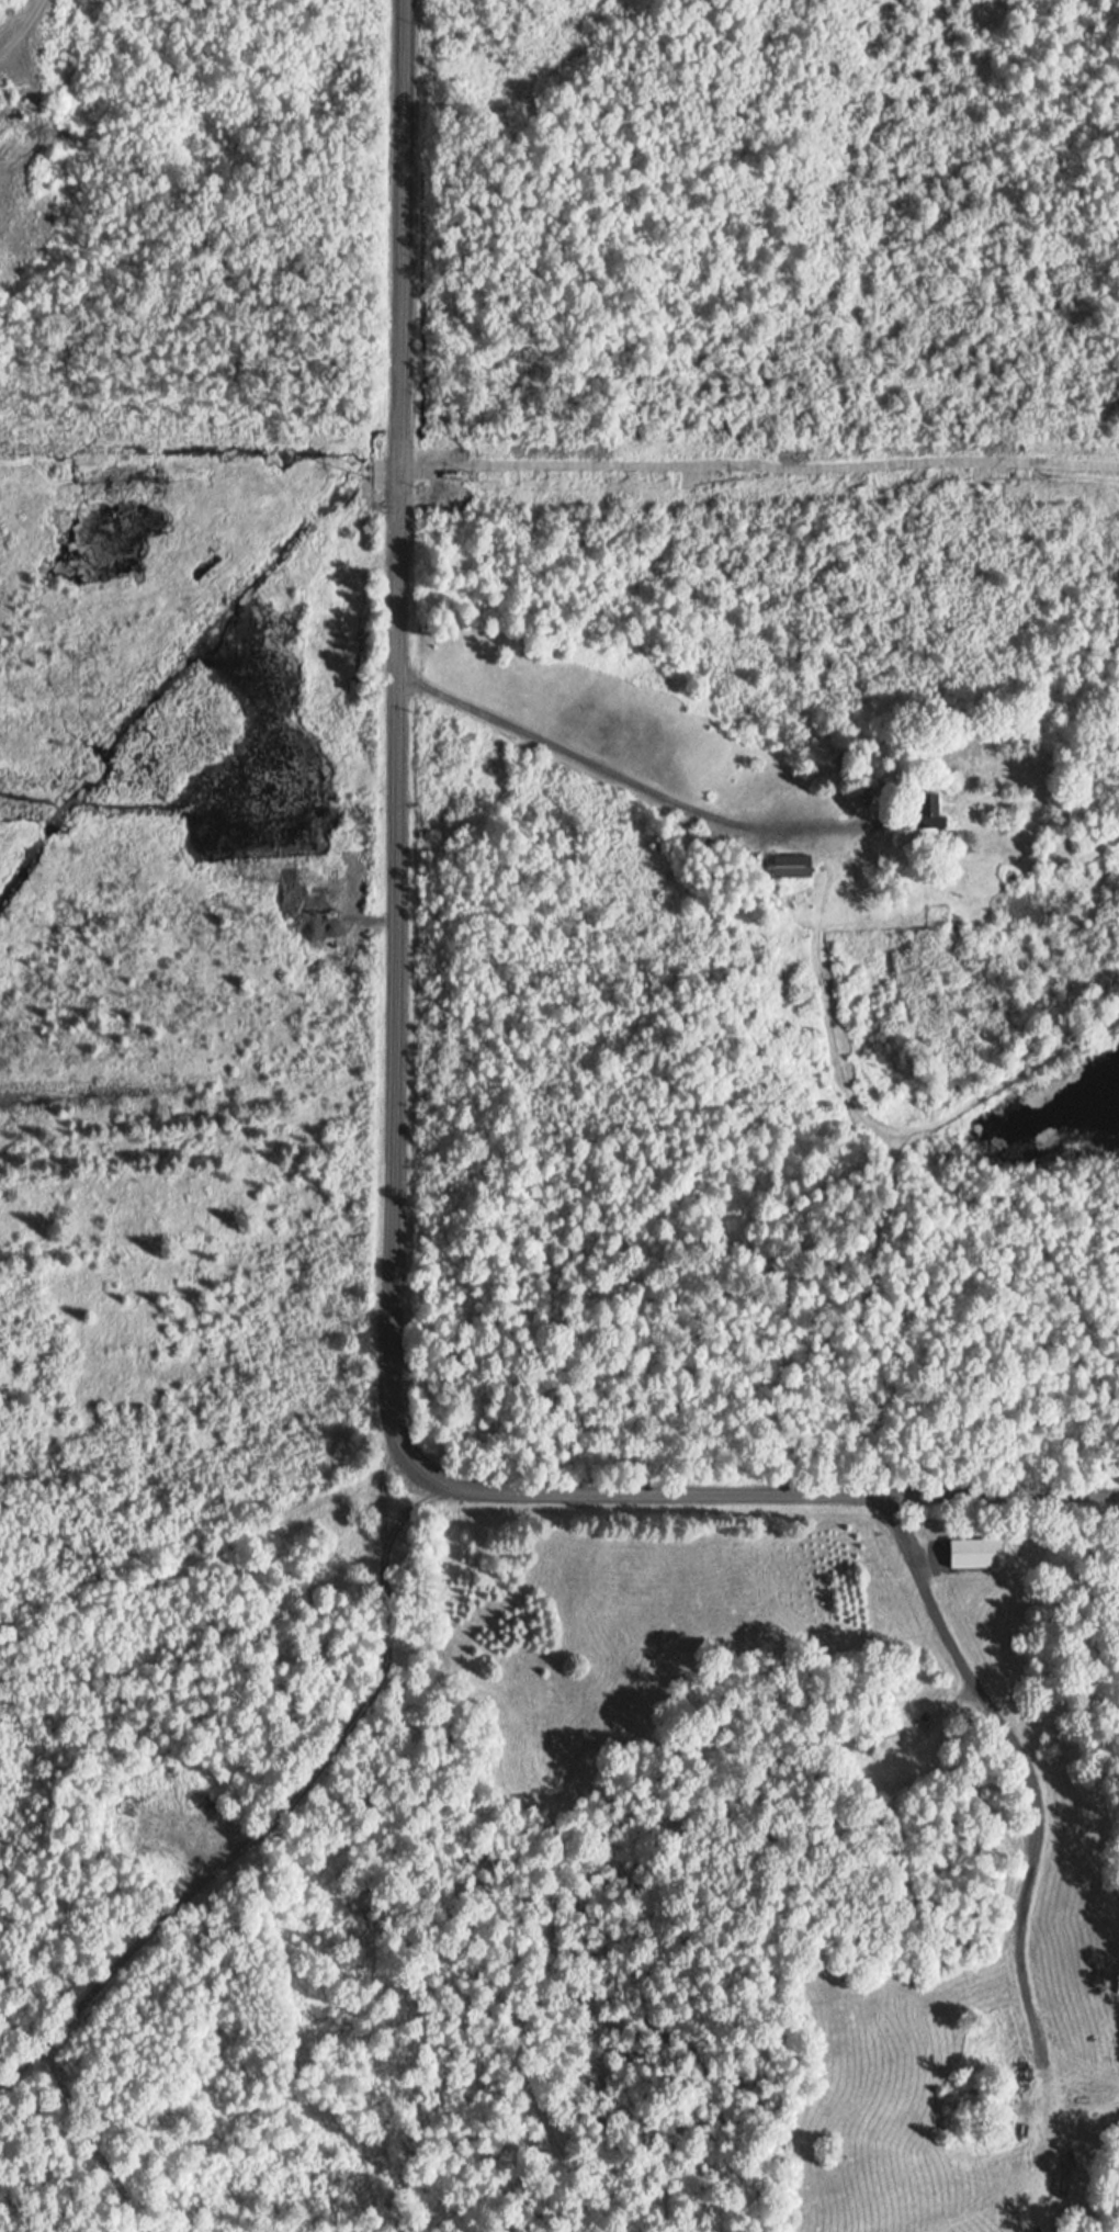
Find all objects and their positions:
road: (394, 726)
road: (621, 779)
building: (796, 865)
road: (749, 1486)
building: (976, 1553)

